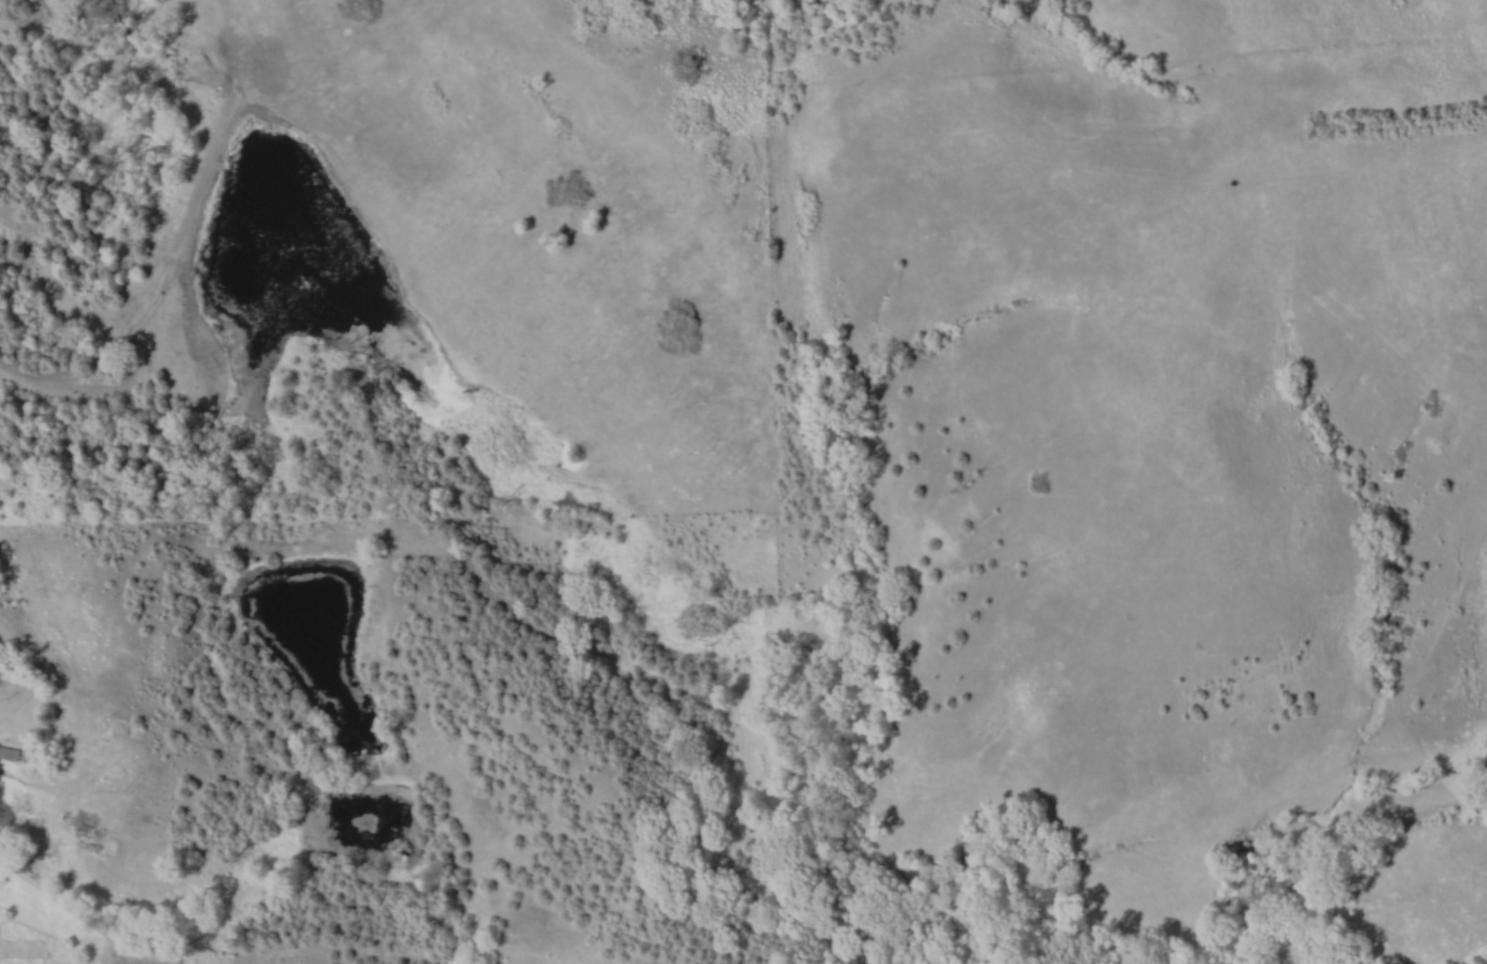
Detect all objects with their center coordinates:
building: (0, 747)

